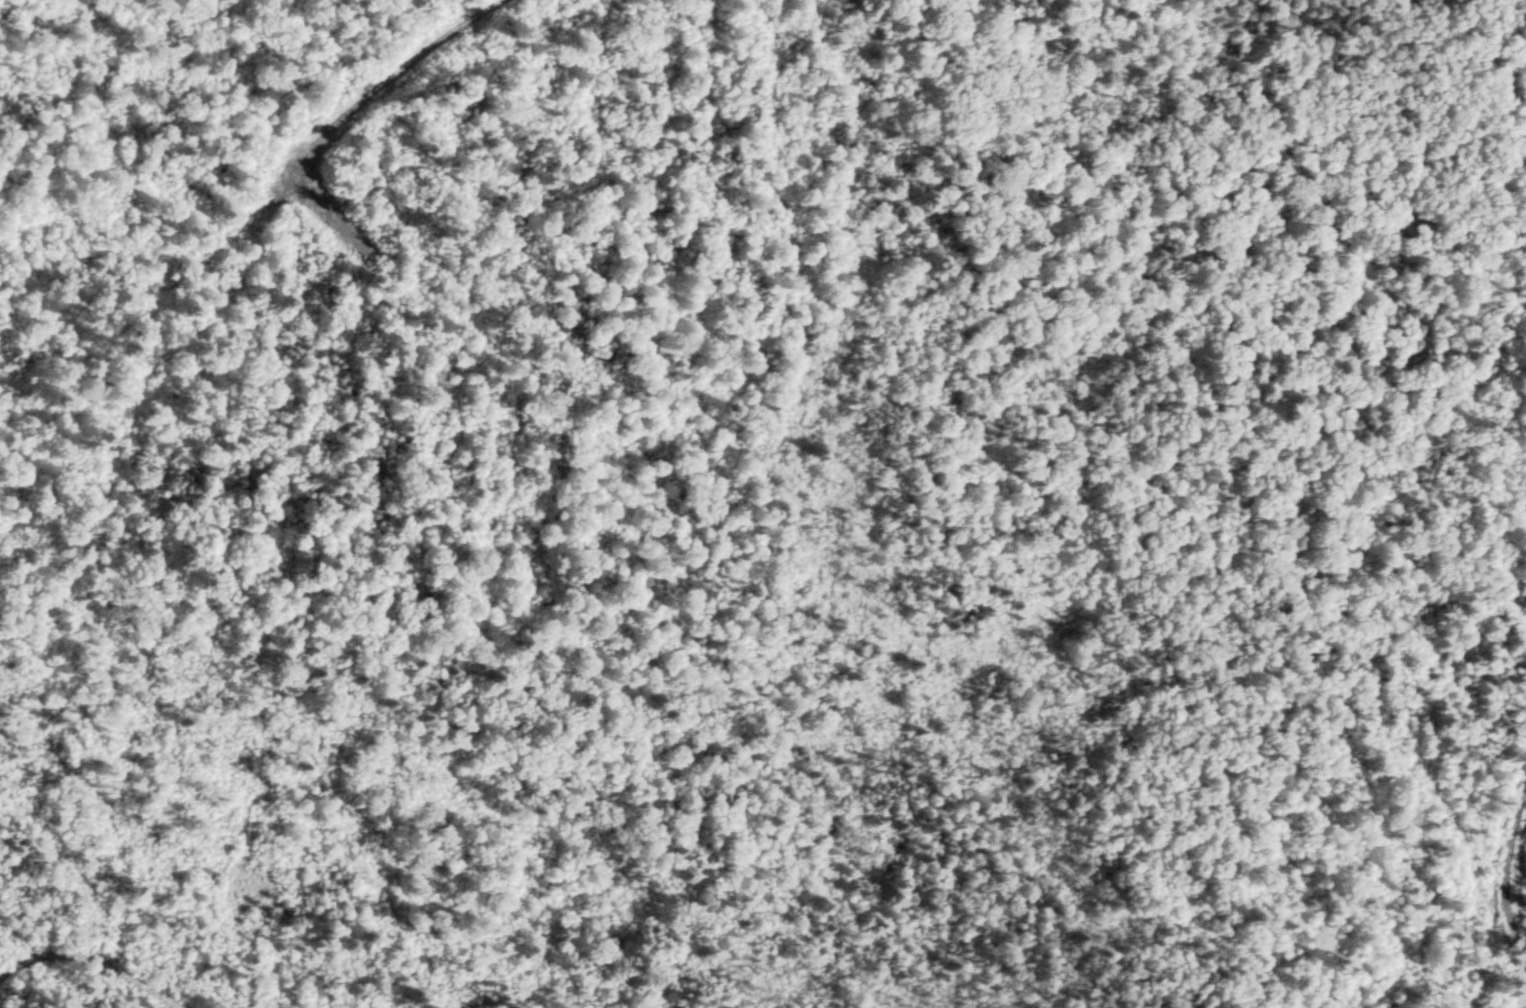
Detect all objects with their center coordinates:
road: (388, 60)
road: (1501, 886)
road: (113, 939)

